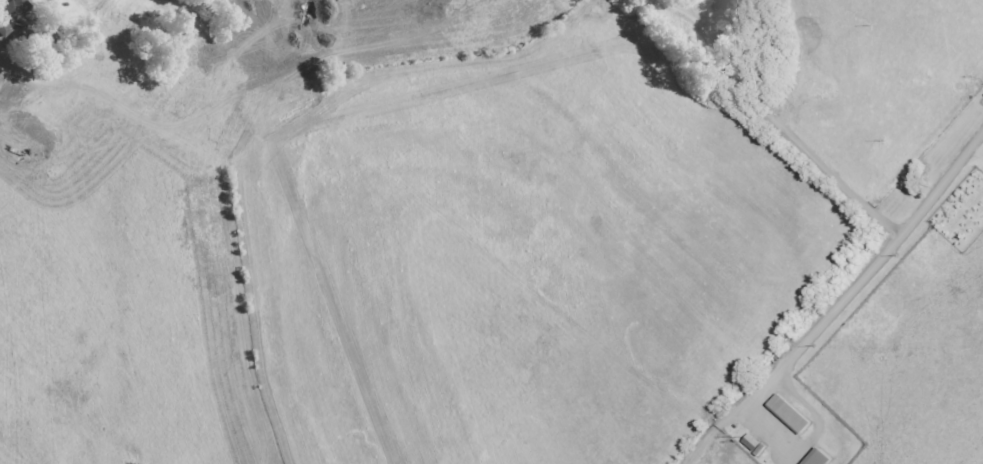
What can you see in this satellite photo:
building: (13, 15)
building: (274, 46)
building: (10, 92)
road: (828, 161)
building: (790, 416)
building: (755, 445)
building: (821, 458)

